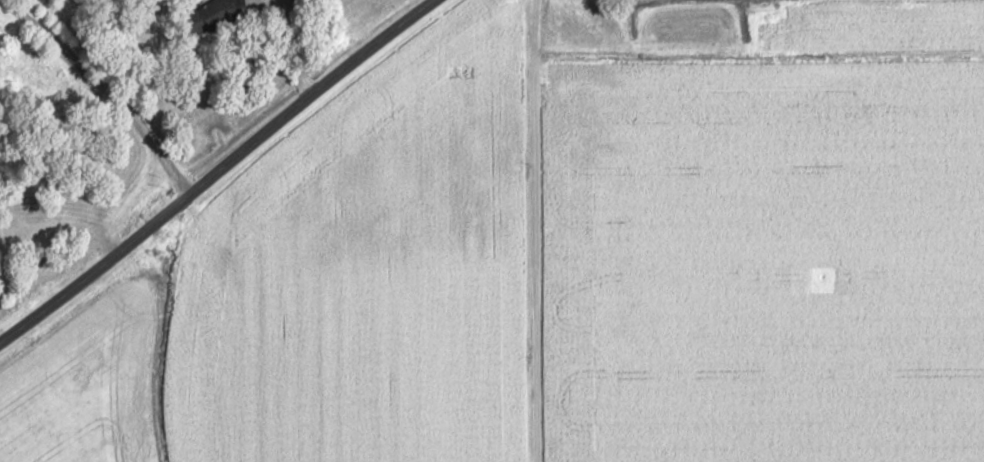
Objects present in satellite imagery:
building: (212, 15)
road: (218, 171)

